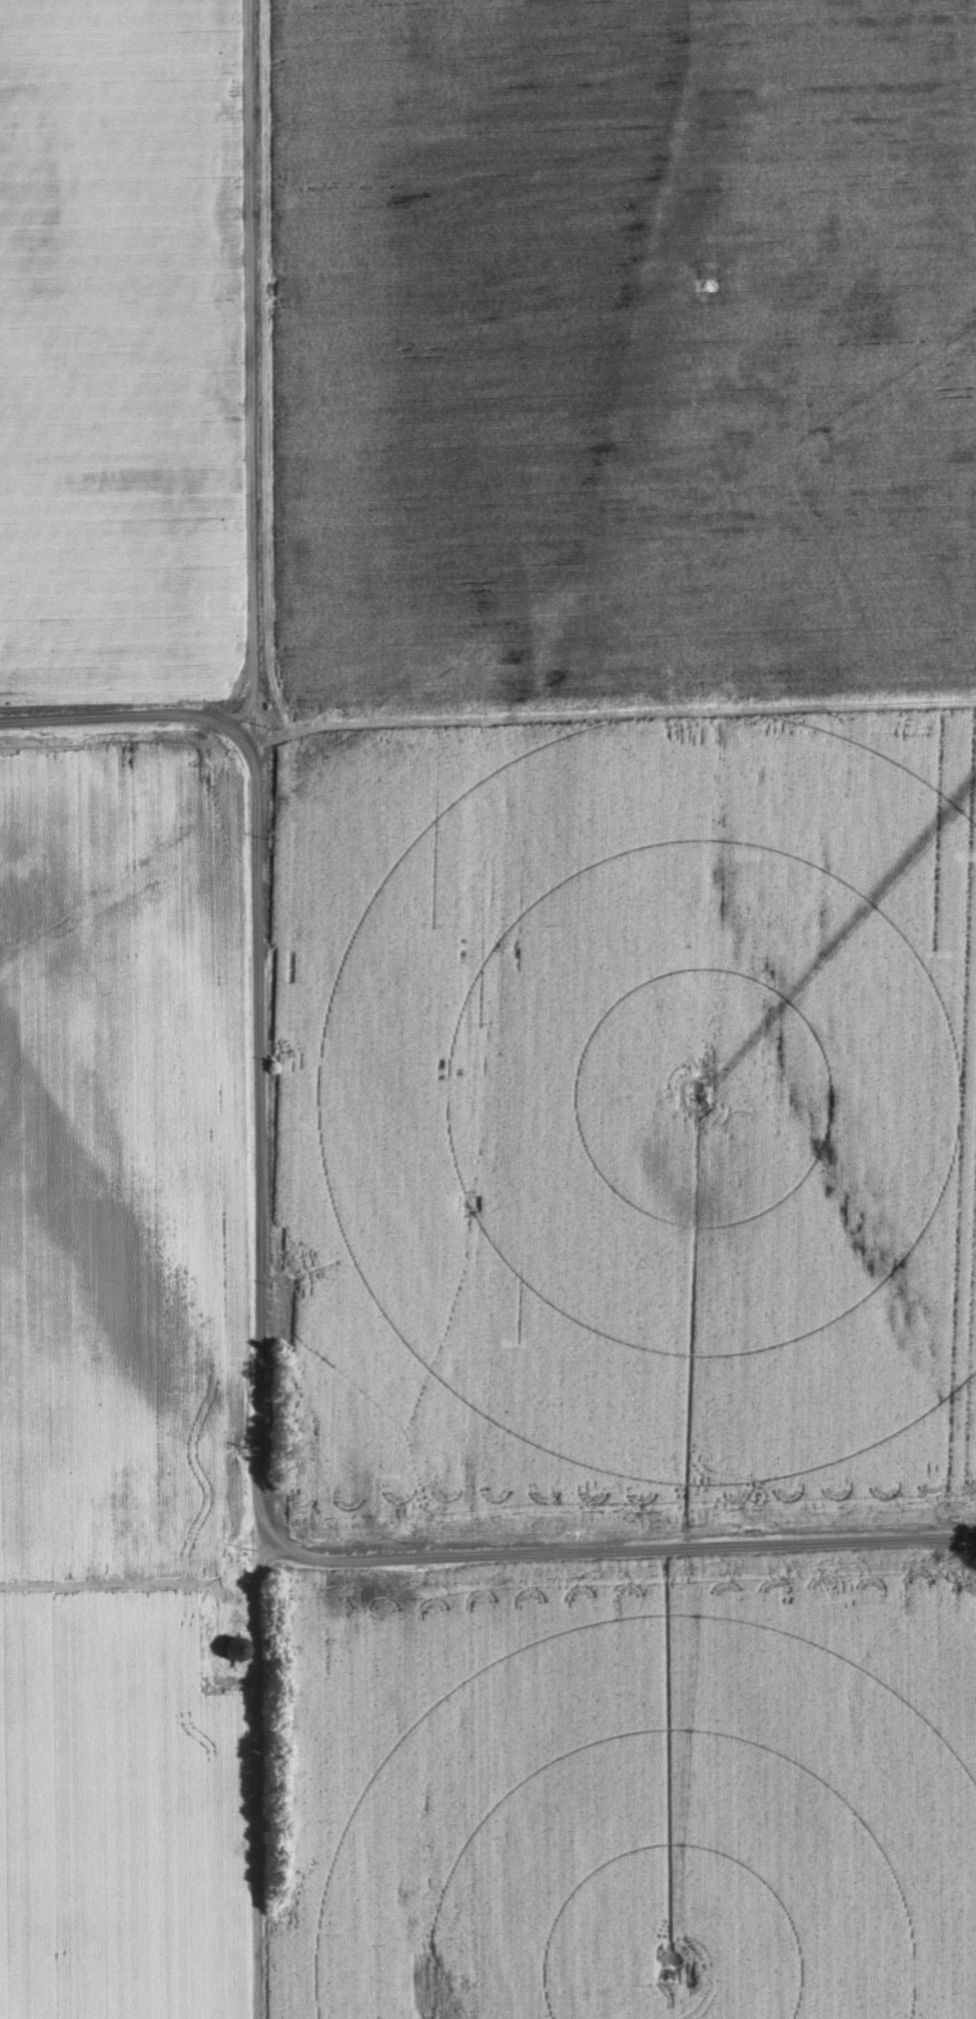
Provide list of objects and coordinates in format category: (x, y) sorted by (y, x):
road: (251, 376)
road: (233, 707)
road: (258, 1366)
road: (253, 1775)

